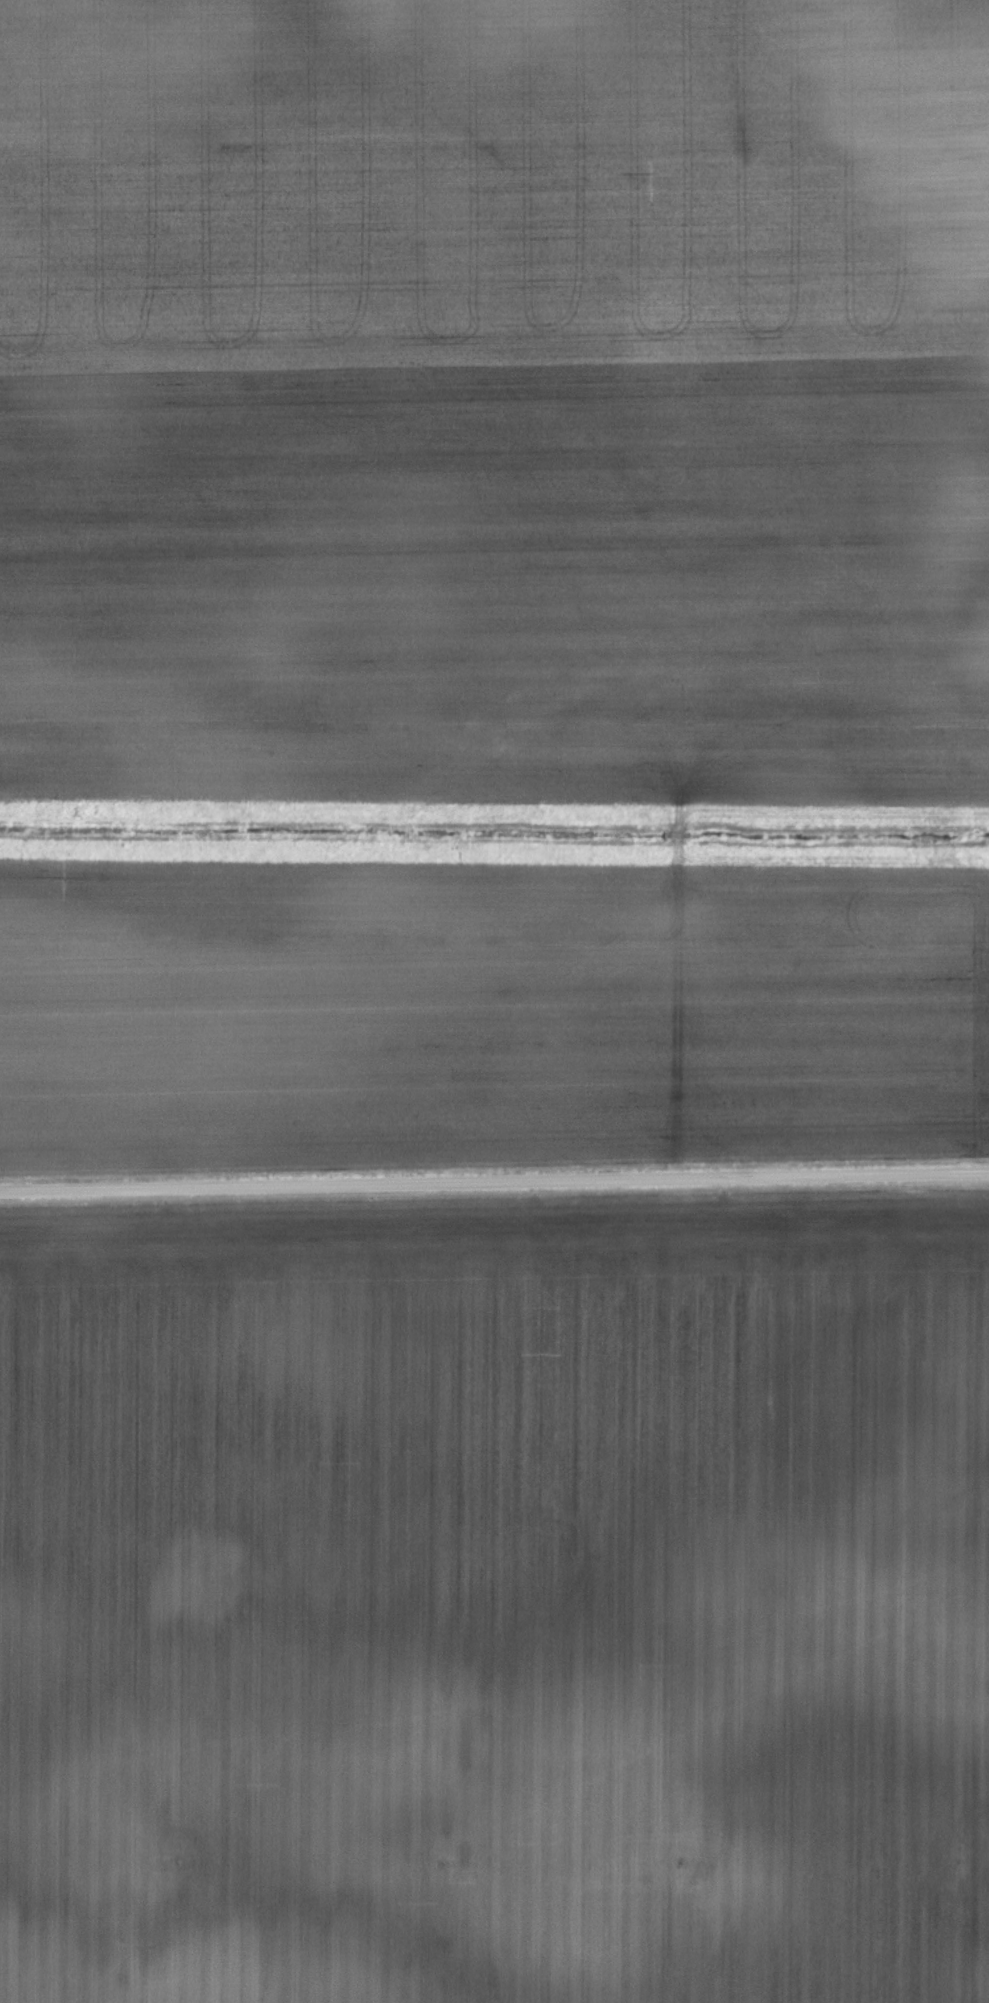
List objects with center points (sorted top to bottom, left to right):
road: (494, 1180)

